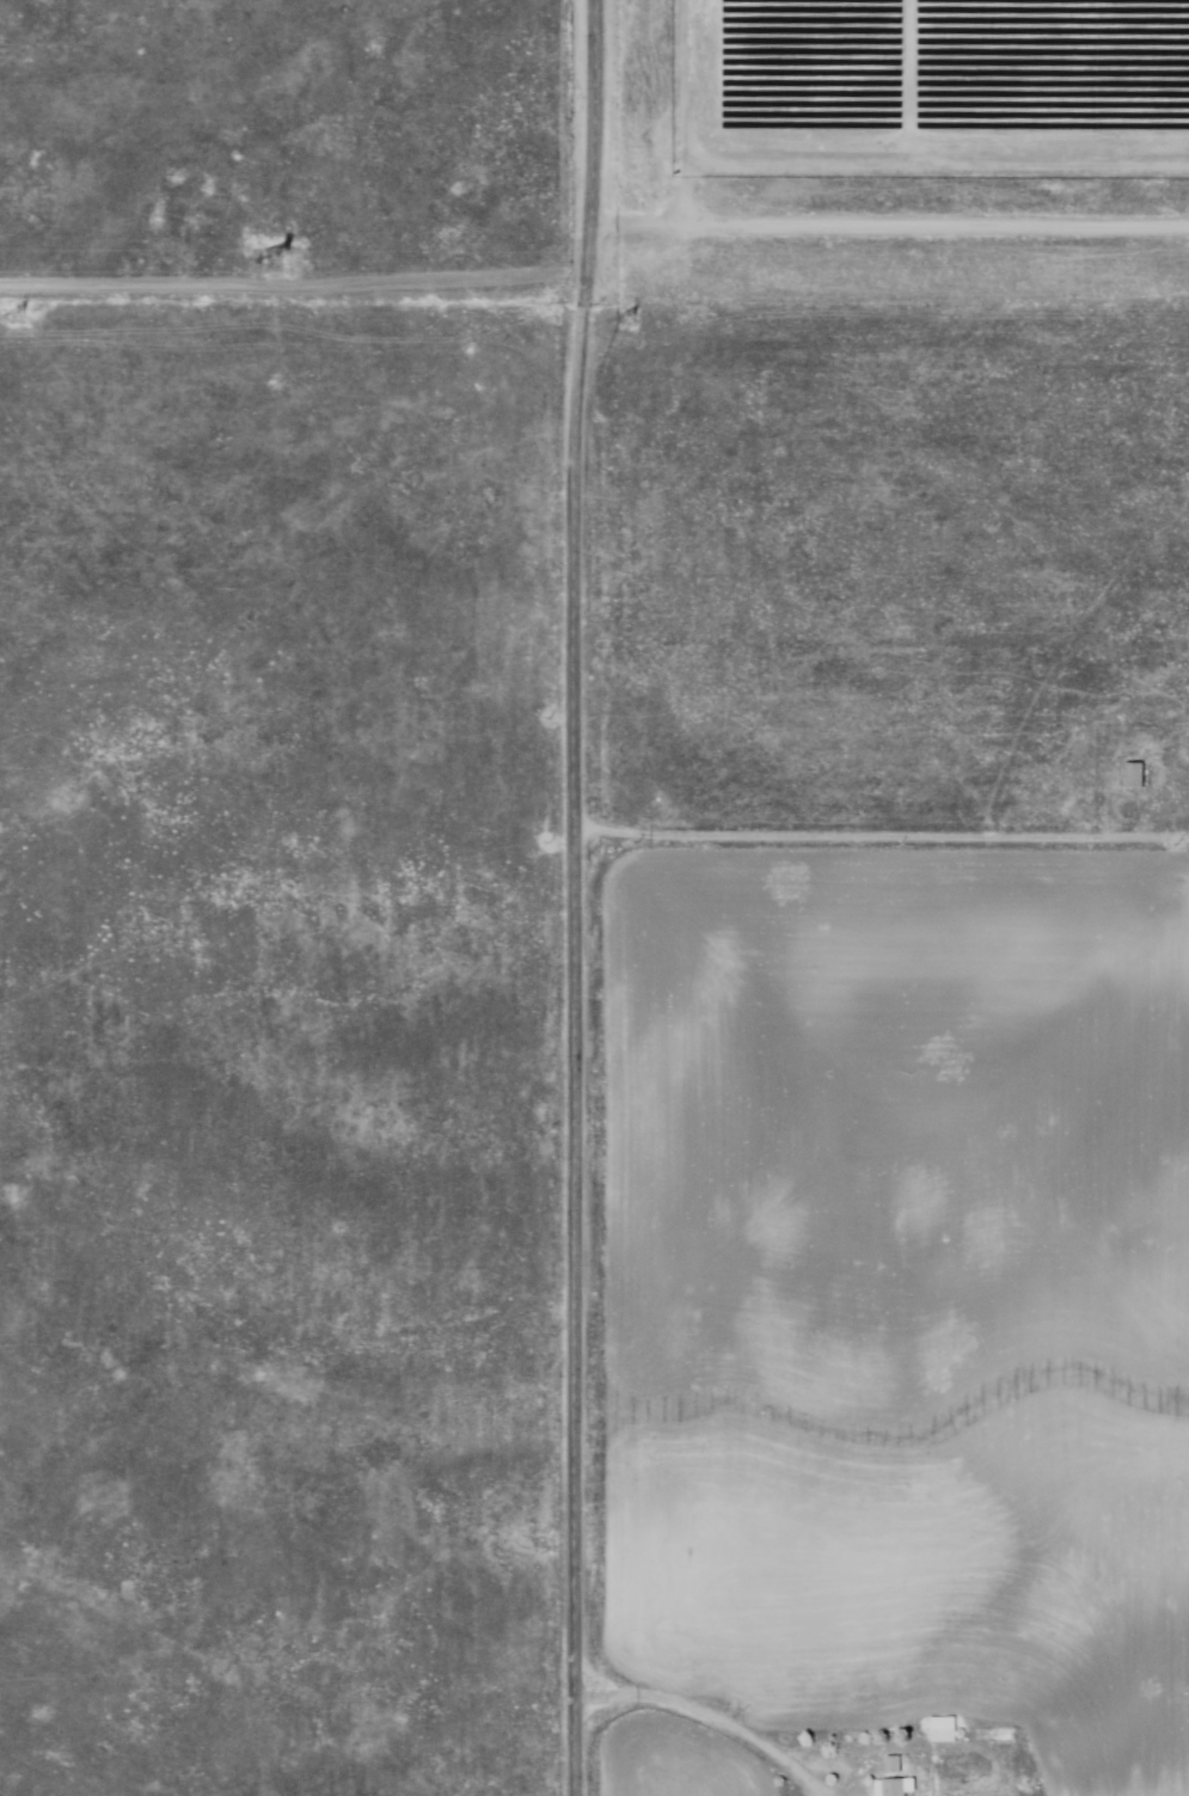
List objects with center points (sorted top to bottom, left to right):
solar farm: (911, 148)
power tower: (270, 260)
power tower: (23, 319)
power tower: (630, 320)
building: (1133, 777)
road: (850, 840)
road: (578, 897)
road: (709, 1720)
building: (944, 1731)
building: (894, 1788)

